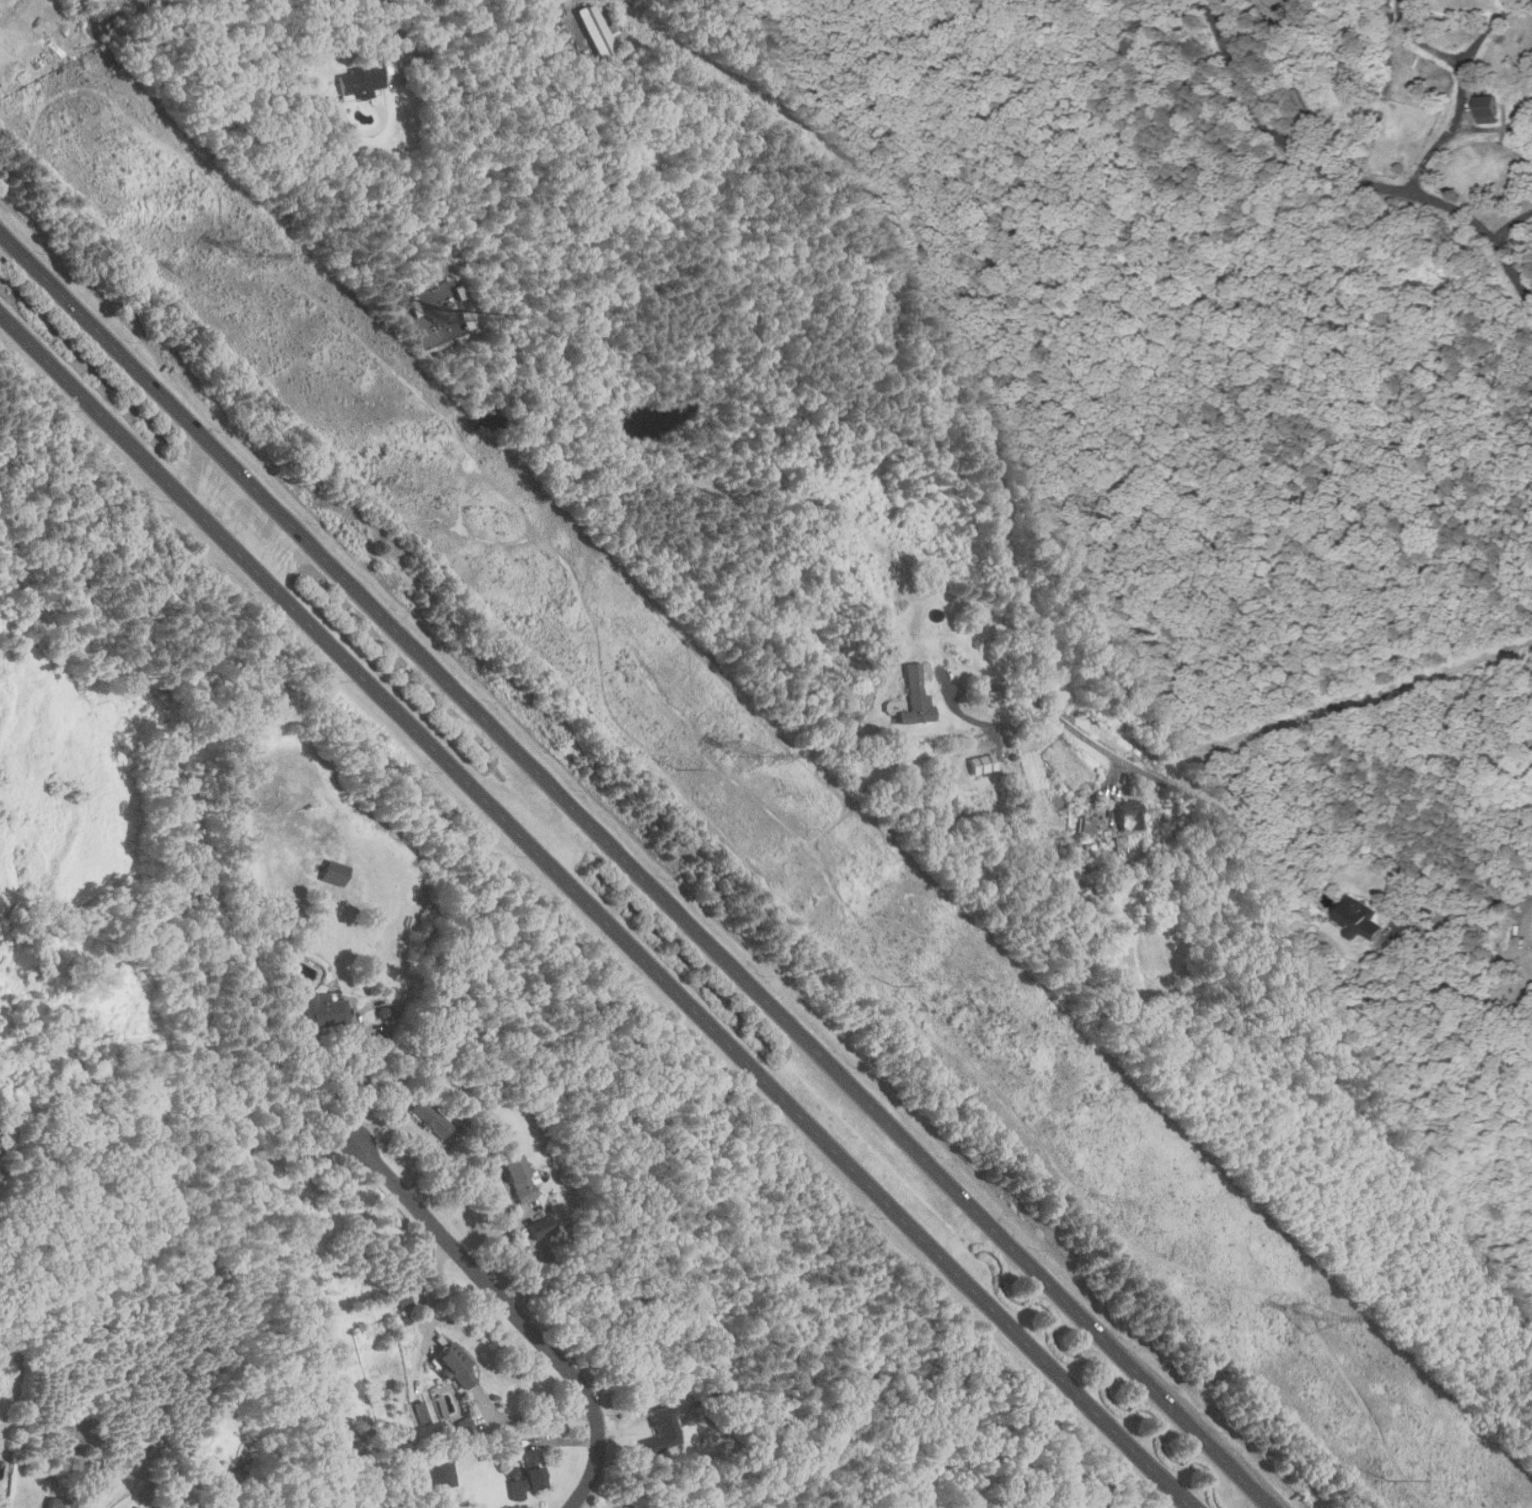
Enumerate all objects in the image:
road: (424, 16)
building: (598, 32)
road: (397, 36)
building: (359, 81)
road: (1463, 90)
building: (1490, 109)
road: (1344, 177)
road: (1514, 229)
power tower: (248, 254)
power tower: (180, 271)
building: (439, 313)
power tower: (397, 488)
building: (915, 697)
road: (952, 698)
power tower: (747, 752)
building: (981, 763)
building: (1128, 814)
road: (1284, 823)
building: (1087, 825)
road: (640, 869)
building: (335, 873)
road: (597, 911)
building: (1361, 919)
building: (384, 1010)
building: (325, 1011)
road: (366, 1088)
building: (432, 1119)
building: (519, 1179)
power tower: (1107, 1199)
building: (542, 1227)
road: (439, 1295)
building: (402, 1298)
road: (517, 1311)
power tower: (1311, 1317)
building: (456, 1365)
building: (420, 1411)
road: (534, 1416)
building: (663, 1431)
building: (446, 1475)
building: (530, 1475)
building: (216, 1496)
building: (62, 1504)
building: (137, 1507)

